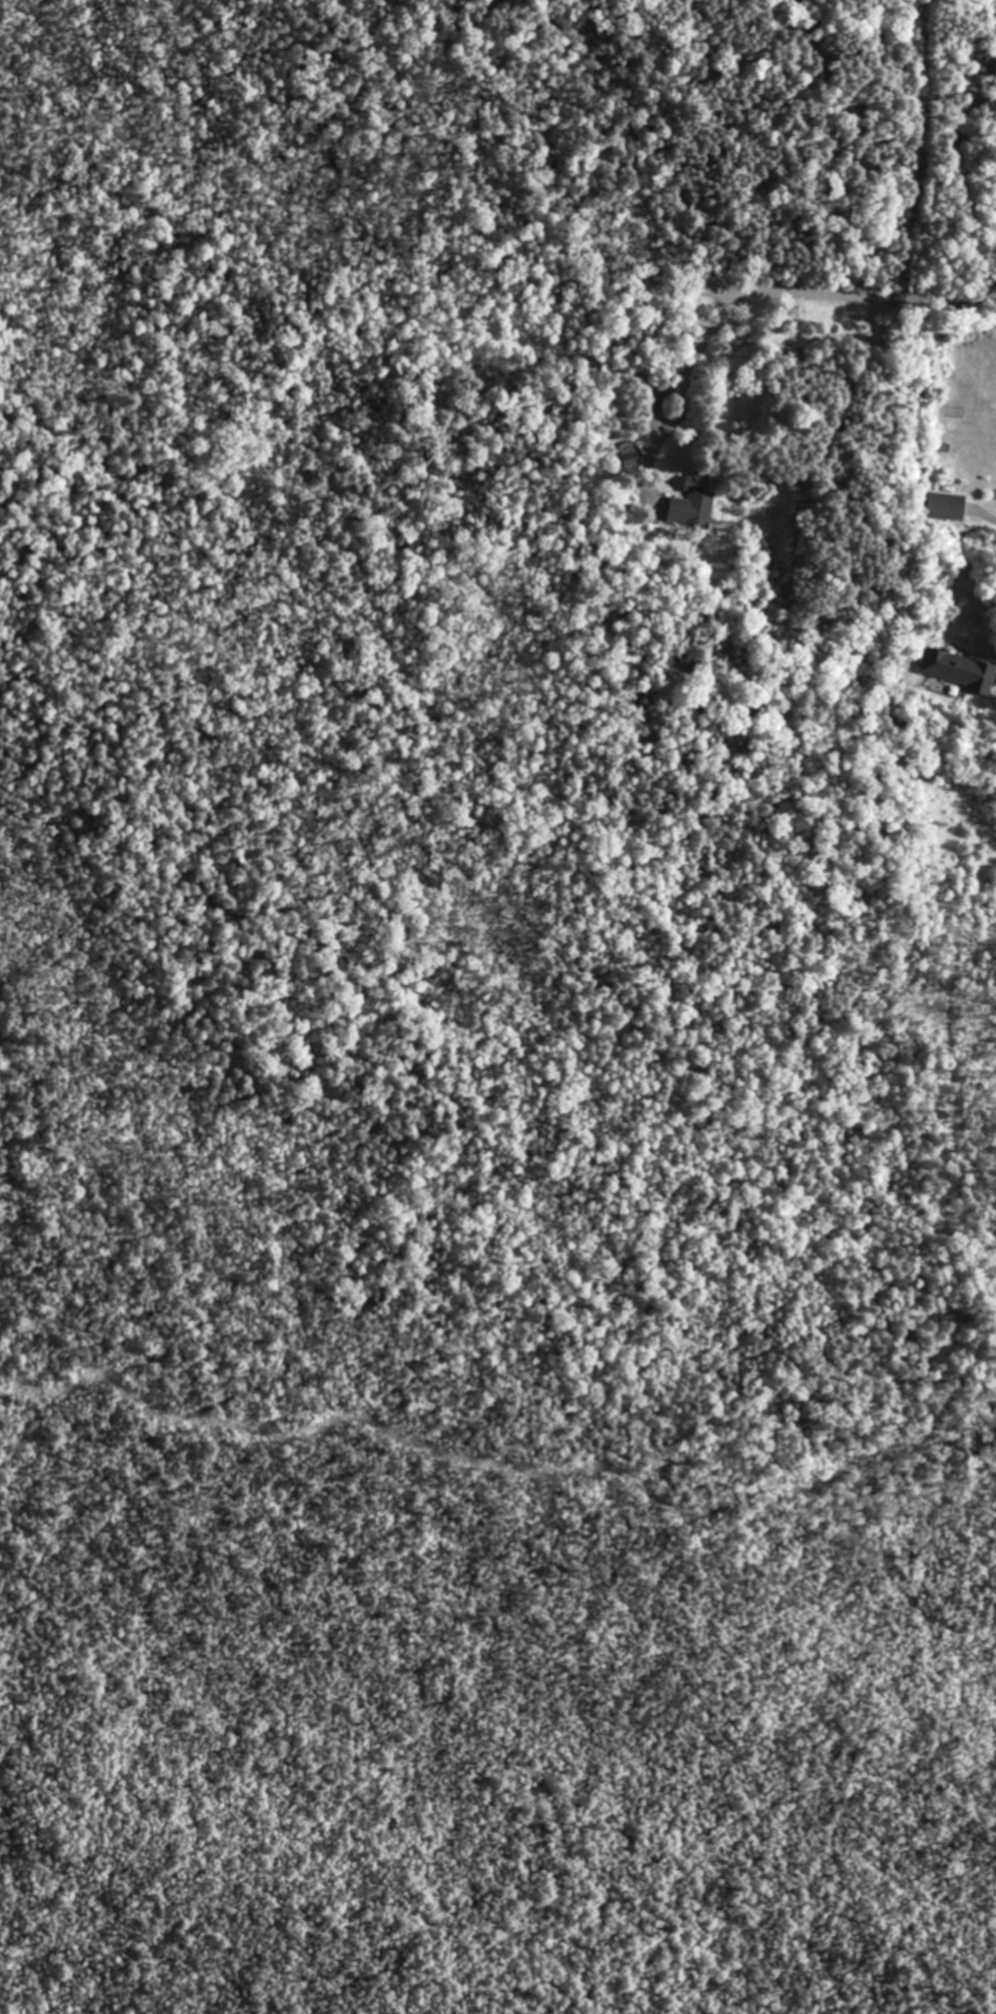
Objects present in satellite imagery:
road: (968, 169)
road: (852, 303)
road: (691, 351)
building: (689, 506)
road: (992, 519)
building: (953, 670)

